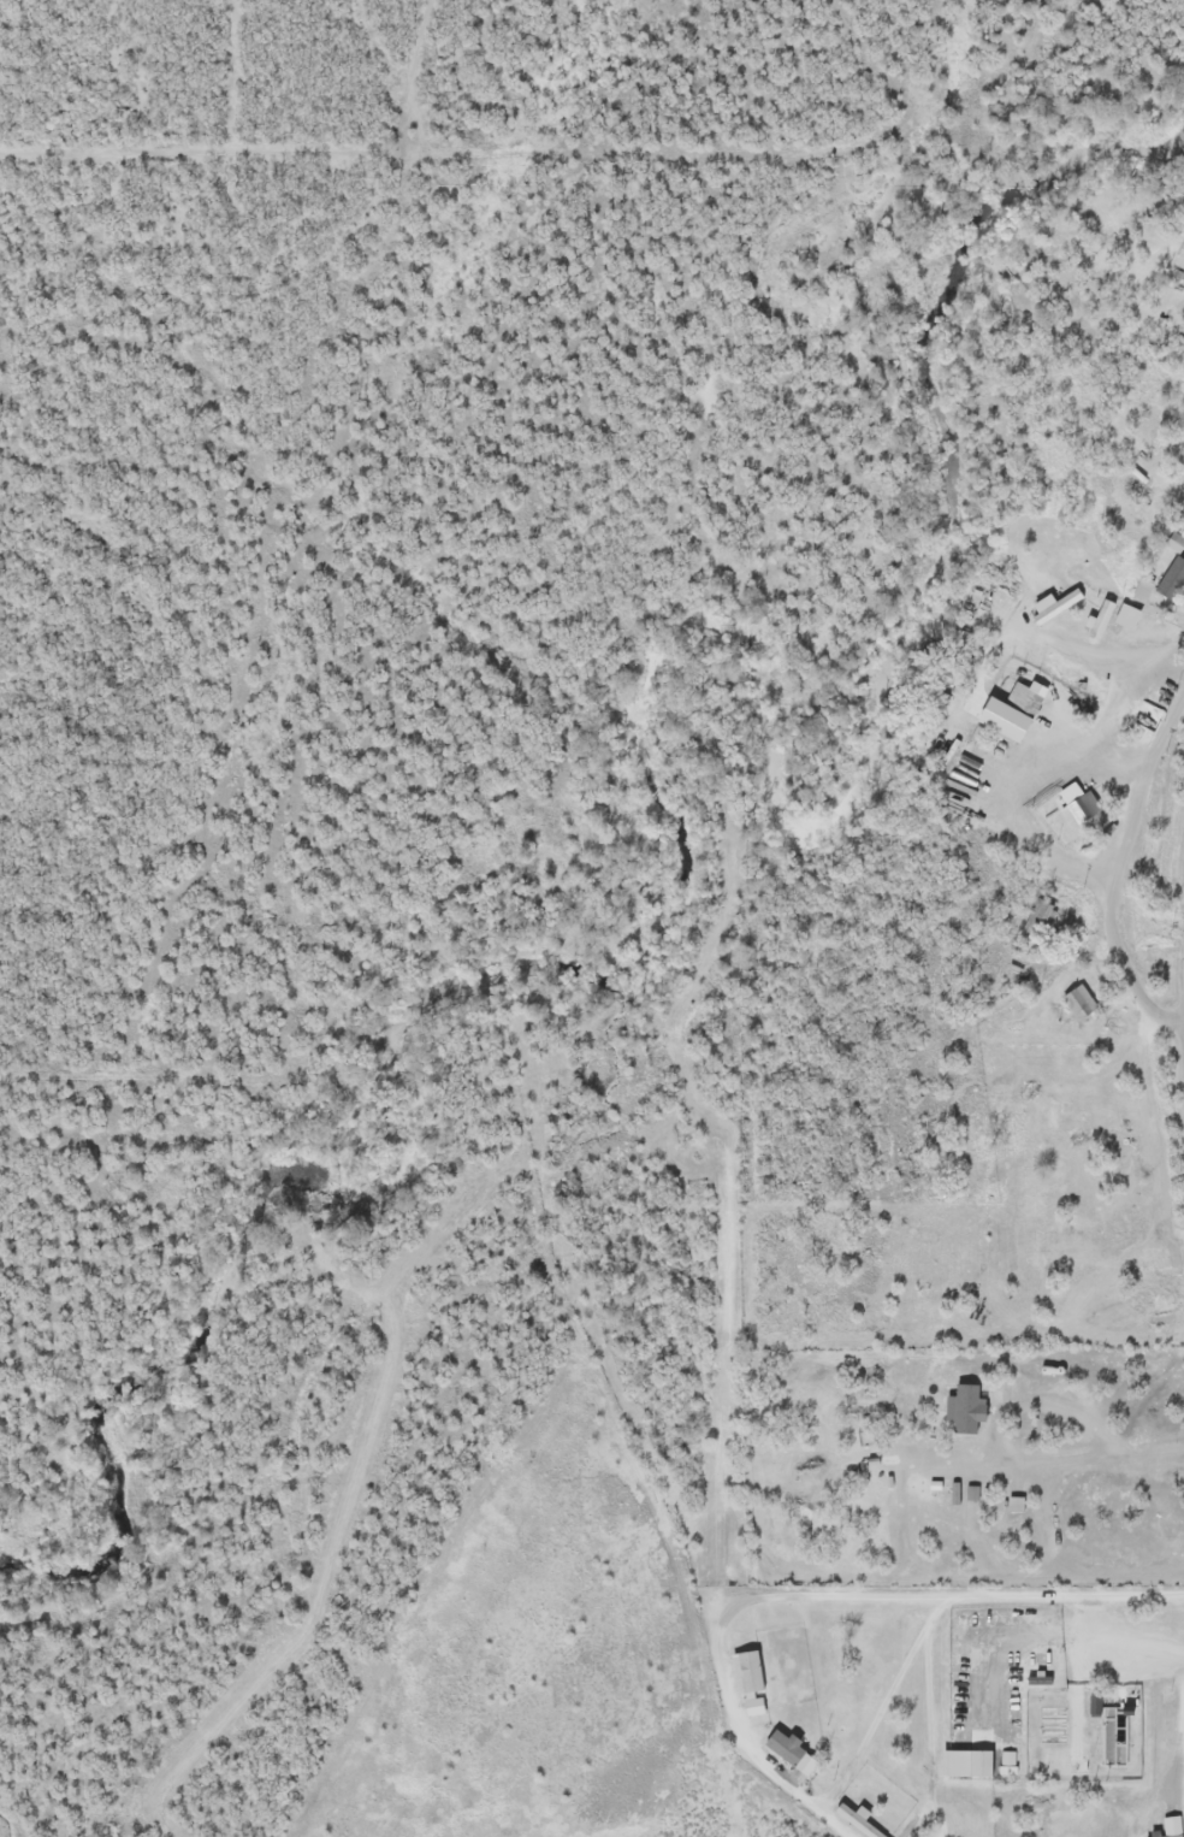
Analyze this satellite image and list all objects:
building: (1172, 578)
building: (1143, 587)
building: (1054, 604)
building: (1127, 615)
building: (1101, 619)
building: (1018, 703)
building: (1005, 717)
building: (1077, 803)
river: (671, 840)
road: (1120, 875)
building: (1037, 916)
building: (1079, 1000)
building: (966, 1407)
road: (819, 1601)
building: (750, 1674)
building: (1037, 1678)
building: (1094, 1703)
wastewater plant: (1084, 1732)
building: (783, 1746)
building: (966, 1762)
building: (1010, 1762)
building: (860, 1823)
building: (1173, 1836)

